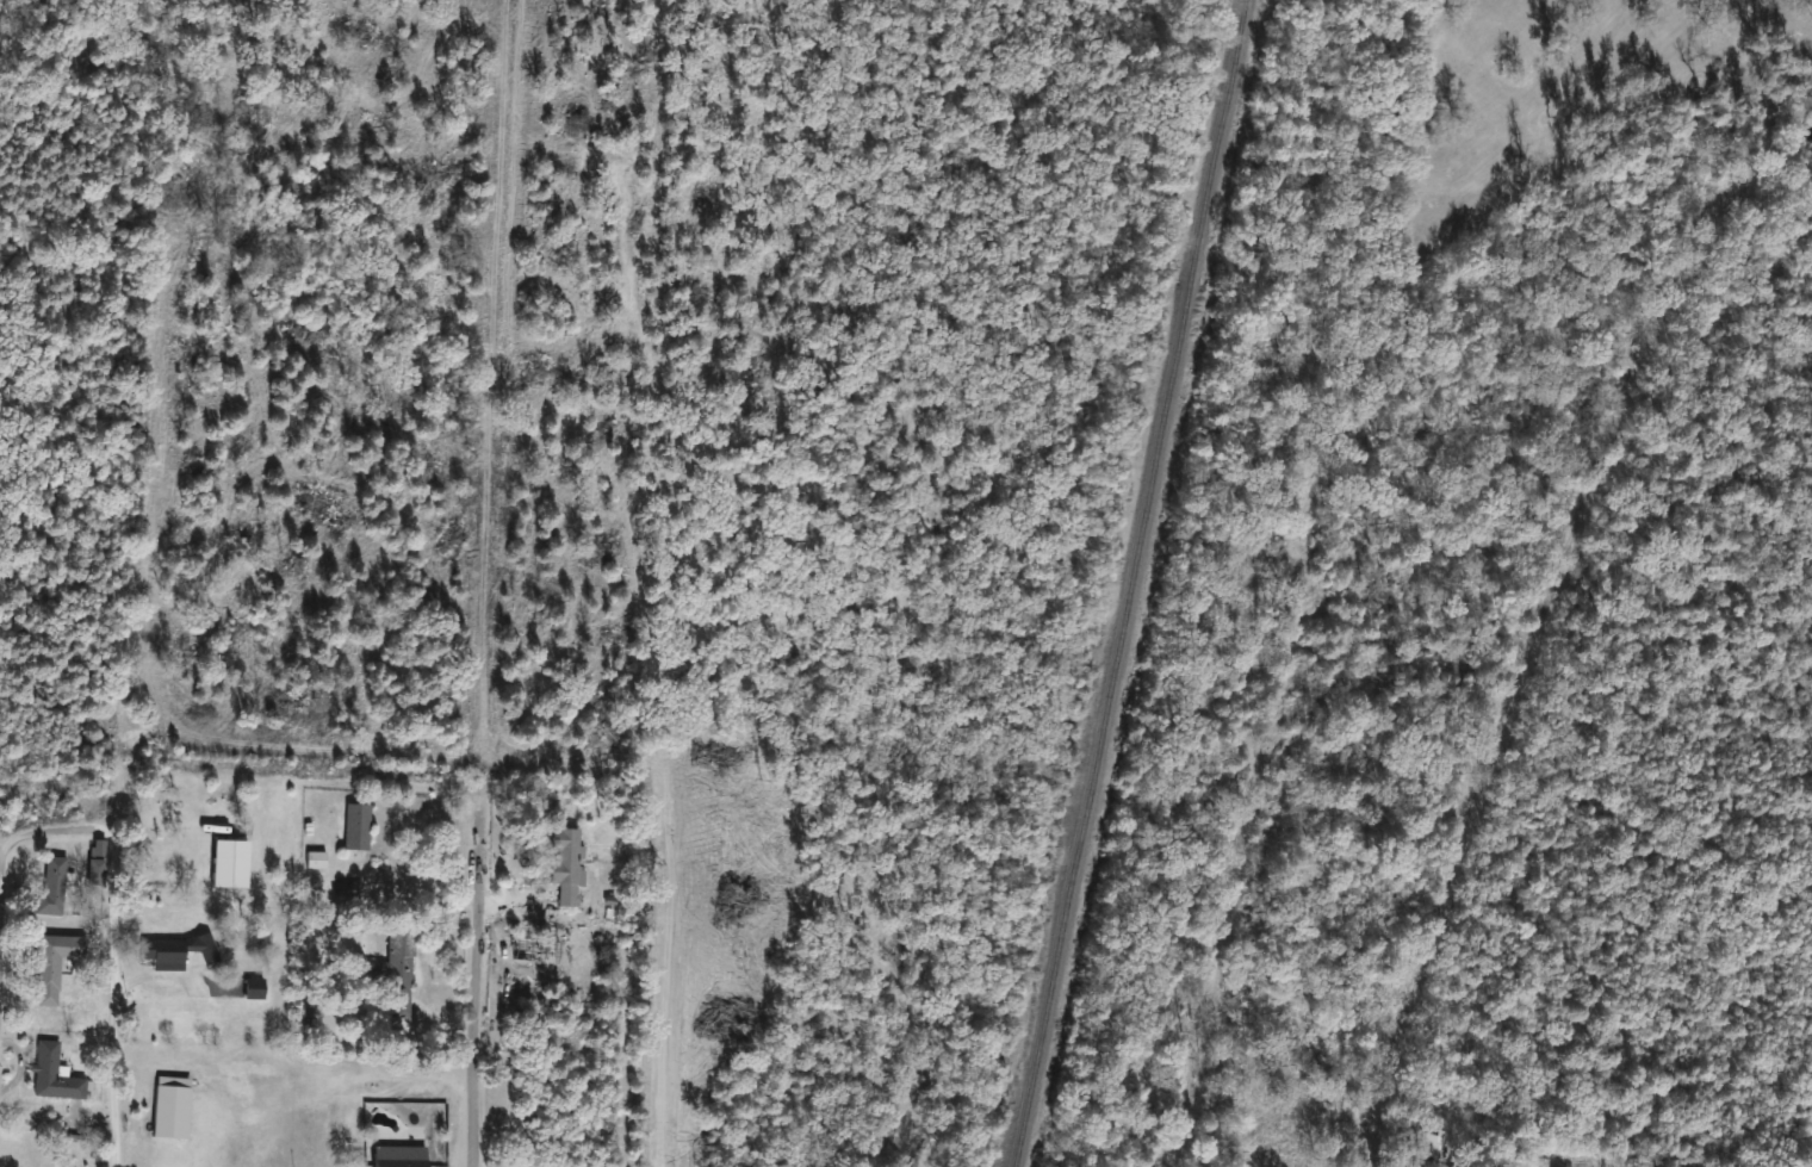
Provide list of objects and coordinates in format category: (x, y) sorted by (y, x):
road: (497, 397)
railway: (1140, 582)
building: (356, 827)
building: (316, 859)
building: (230, 863)
building: (97, 864)
building: (566, 865)
building: (51, 886)
road: (116, 904)
building: (178, 952)
building: (55, 958)
building: (393, 969)
road: (478, 980)
building: (54, 1074)
building: (1426, 1143)
building: (399, 1156)

